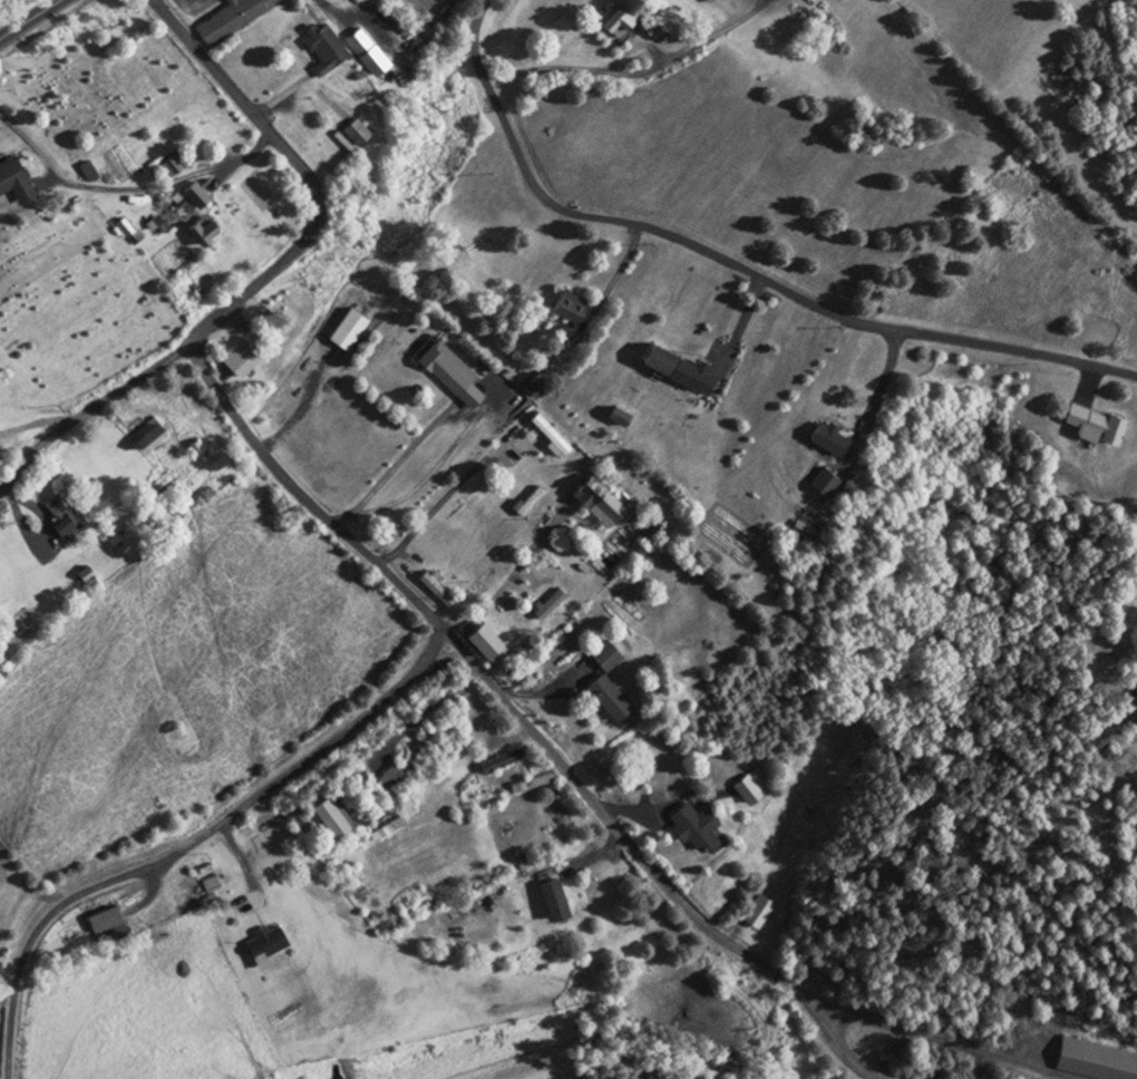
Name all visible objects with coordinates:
building: (707, 0)
road: (29, 18)
building: (227, 19)
building: (614, 21)
building: (658, 33)
building: (321, 49)
building: (363, 51)
building: (13, 177)
road: (733, 264)
road: (270, 270)
building: (565, 307)
building: (235, 357)
building: (676, 367)
building: (447, 372)
building: (1090, 420)
building: (144, 436)
building: (822, 480)
building: (594, 498)
building: (527, 502)
building: (56, 516)
building: (435, 589)
building: (483, 642)
building: (604, 653)
road: (496, 689)
building: (606, 698)
building: (387, 775)
building: (746, 782)
building: (330, 815)
building: (691, 826)
building: (268, 836)
road: (189, 842)
road: (232, 844)
building: (548, 897)
building: (755, 911)
building: (100, 920)
building: (262, 941)
building: (1090, 1061)
building: (919, 1077)

